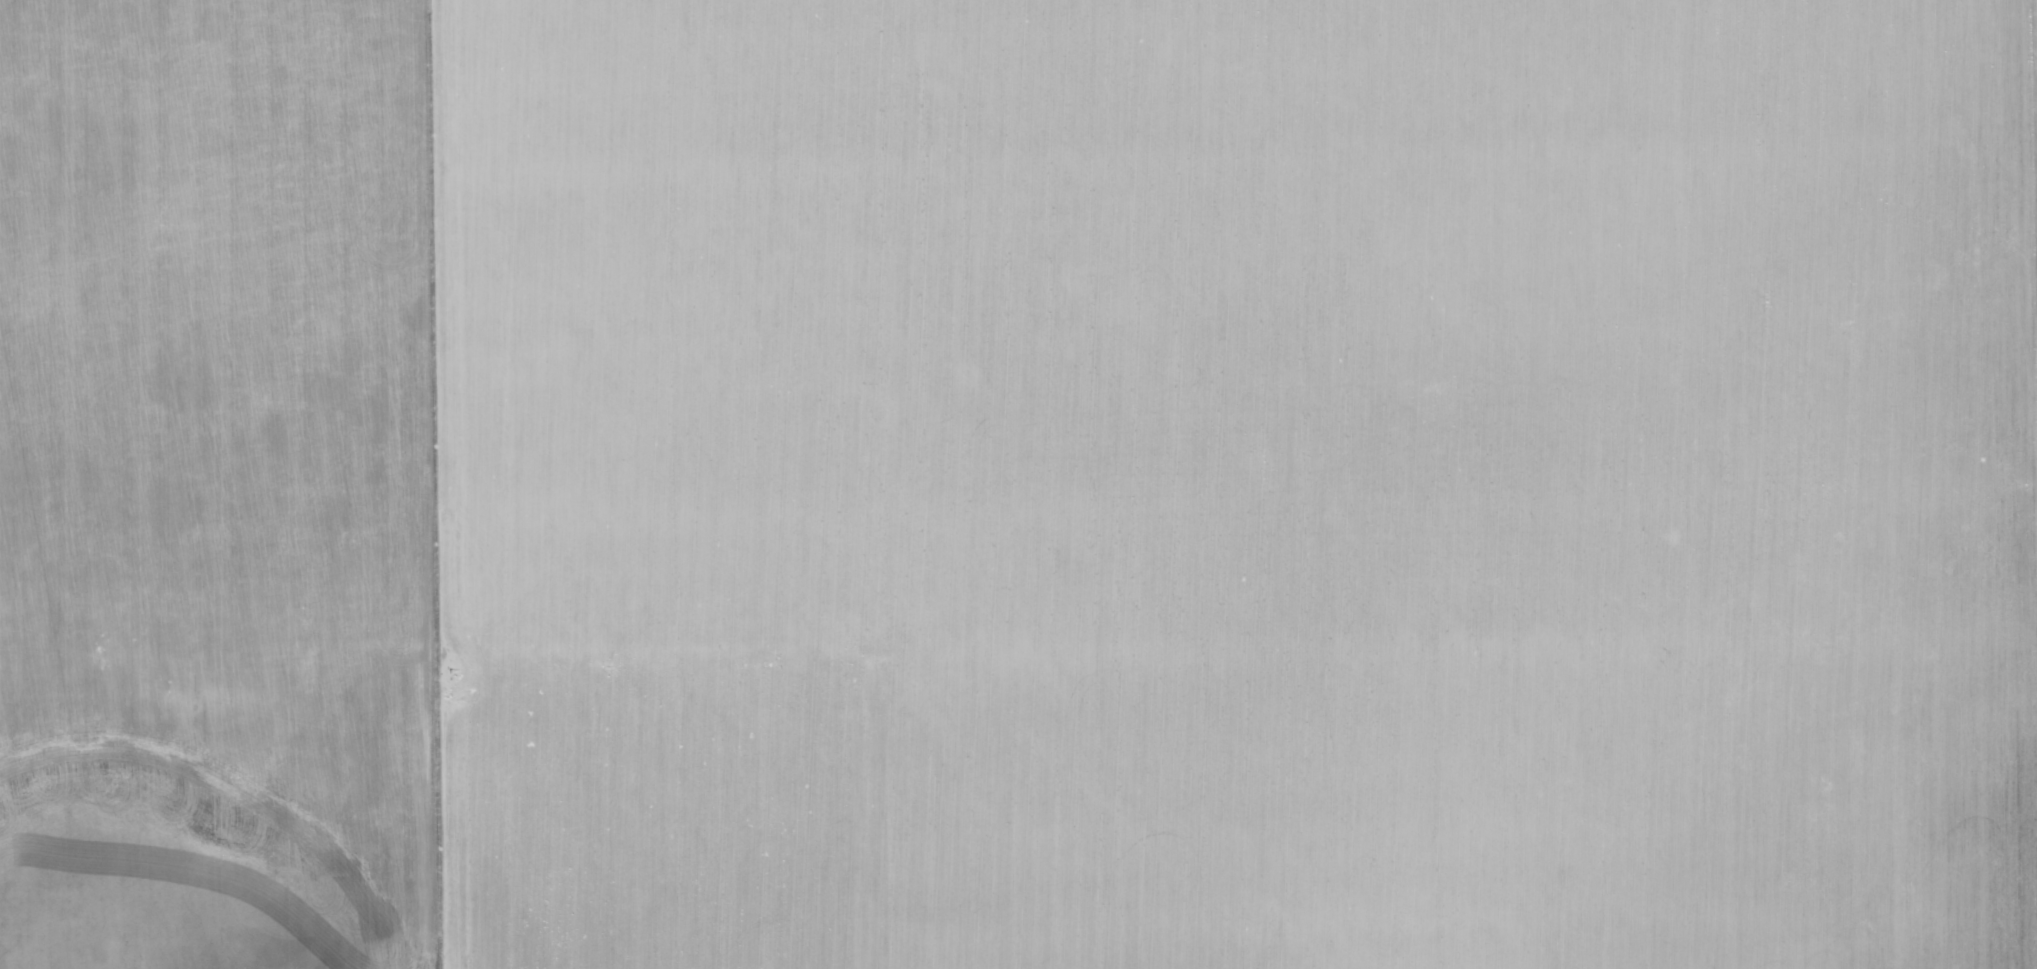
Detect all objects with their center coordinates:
road: (457, 670)

